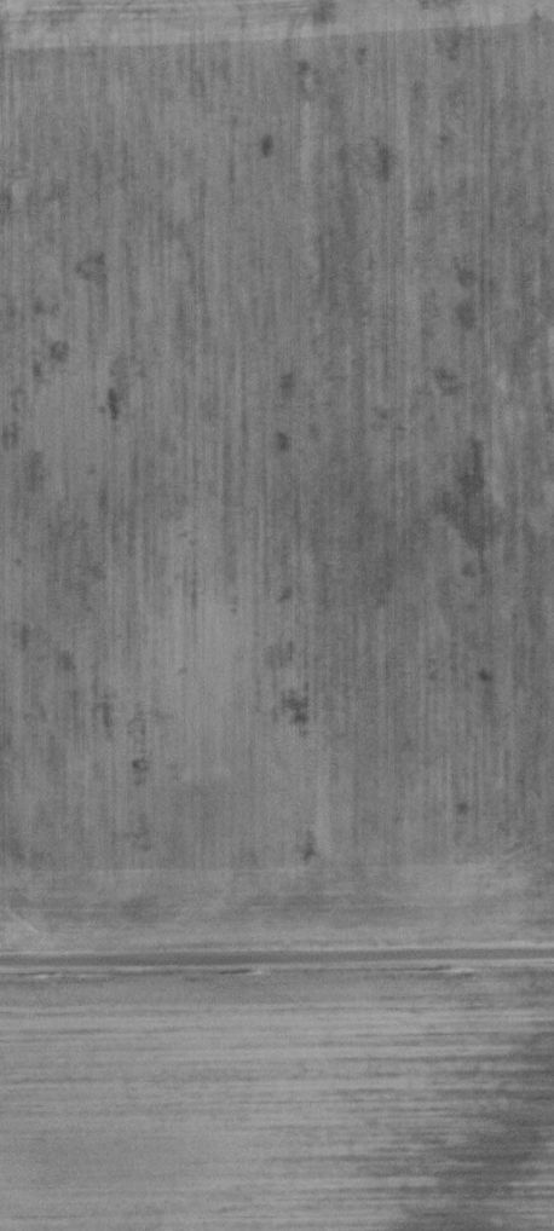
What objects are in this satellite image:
road: (277, 963)

